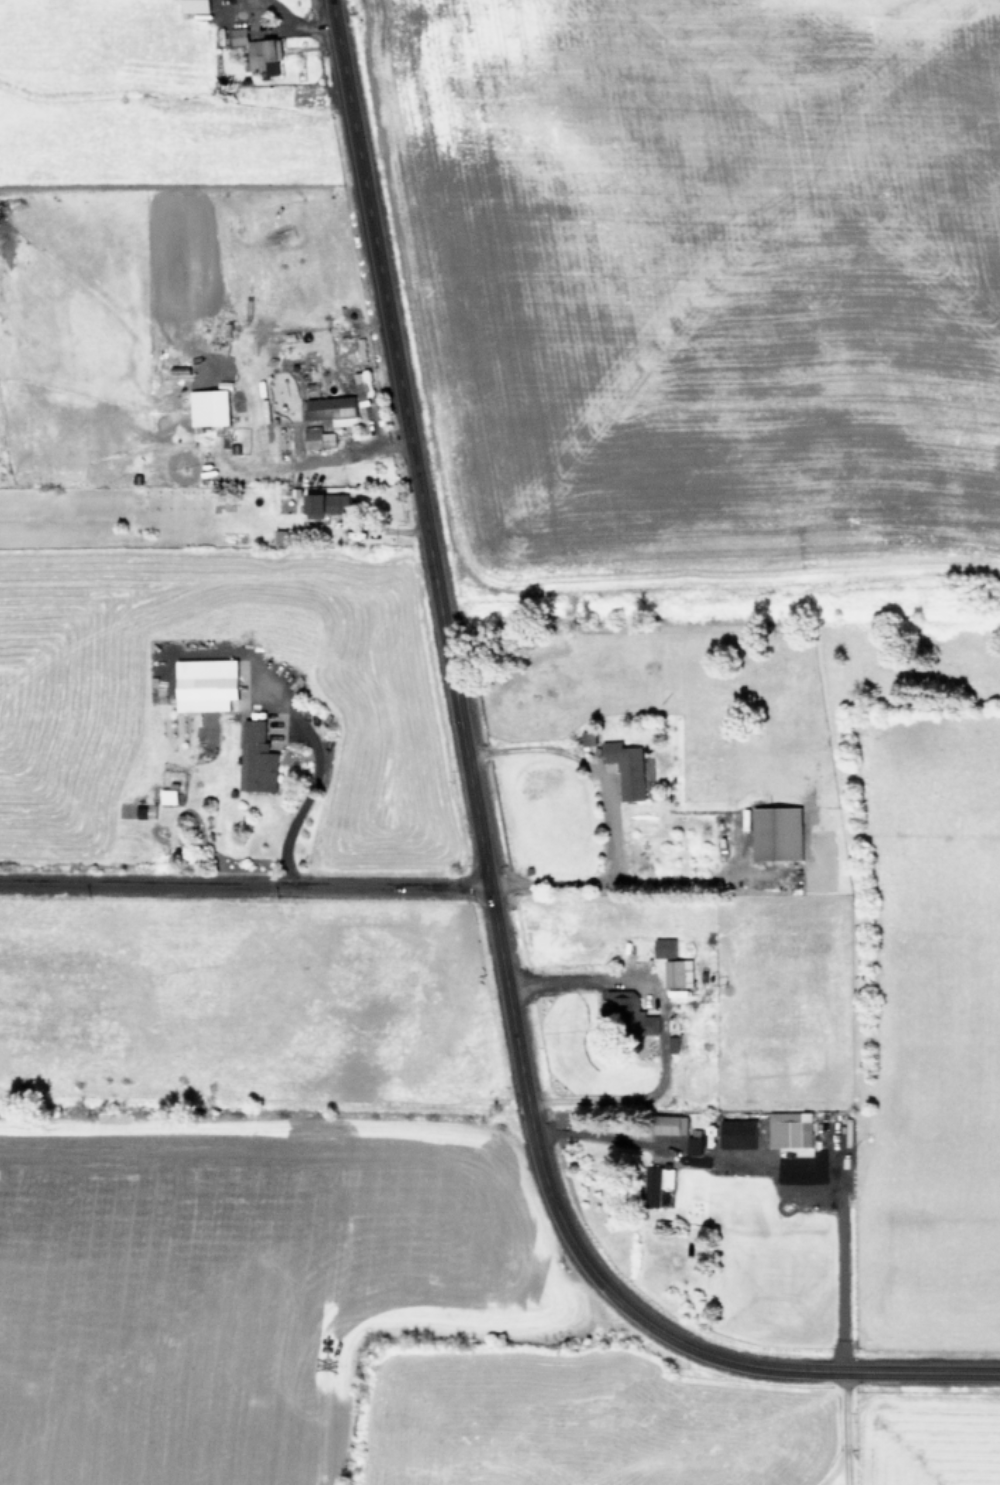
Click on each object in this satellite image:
building: (201, 6)
road: (281, 28)
building: (242, 36)
building: (269, 50)
building: (360, 388)
building: (205, 406)
building: (331, 409)
building: (315, 437)
building: (320, 503)
building: (201, 684)
crop: (500, 742)
building: (256, 757)
building: (624, 768)
road: (313, 774)
building: (164, 795)
building: (147, 810)
road: (605, 813)
building: (773, 832)
road: (469, 862)
road: (237, 887)
building: (661, 947)
building: (675, 972)
road: (569, 986)
building: (623, 1012)
building: (665, 1124)
building: (787, 1129)
building: (734, 1133)
road: (768, 1169)
building: (654, 1184)
road: (844, 1428)

